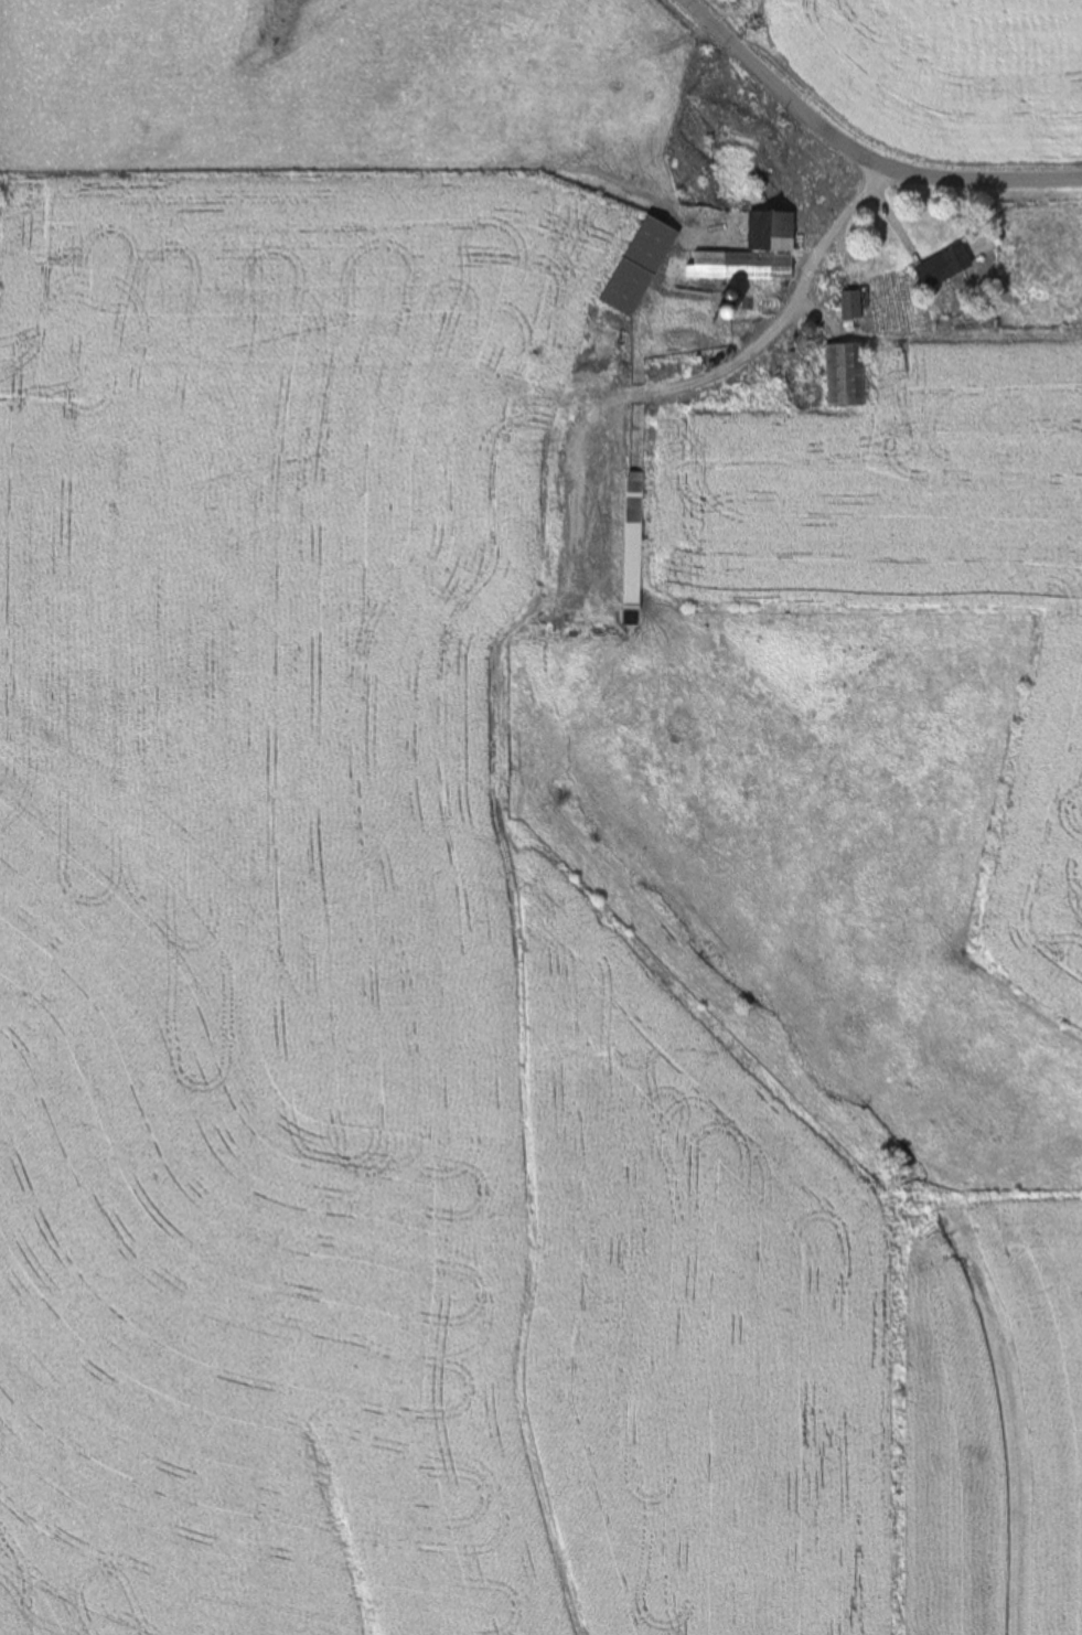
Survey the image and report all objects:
road: (855, 158)
building: (752, 253)
road: (822, 257)
building: (639, 266)
building: (943, 267)
building: (850, 306)
building: (845, 375)
building: (485, 485)
building: (632, 542)

